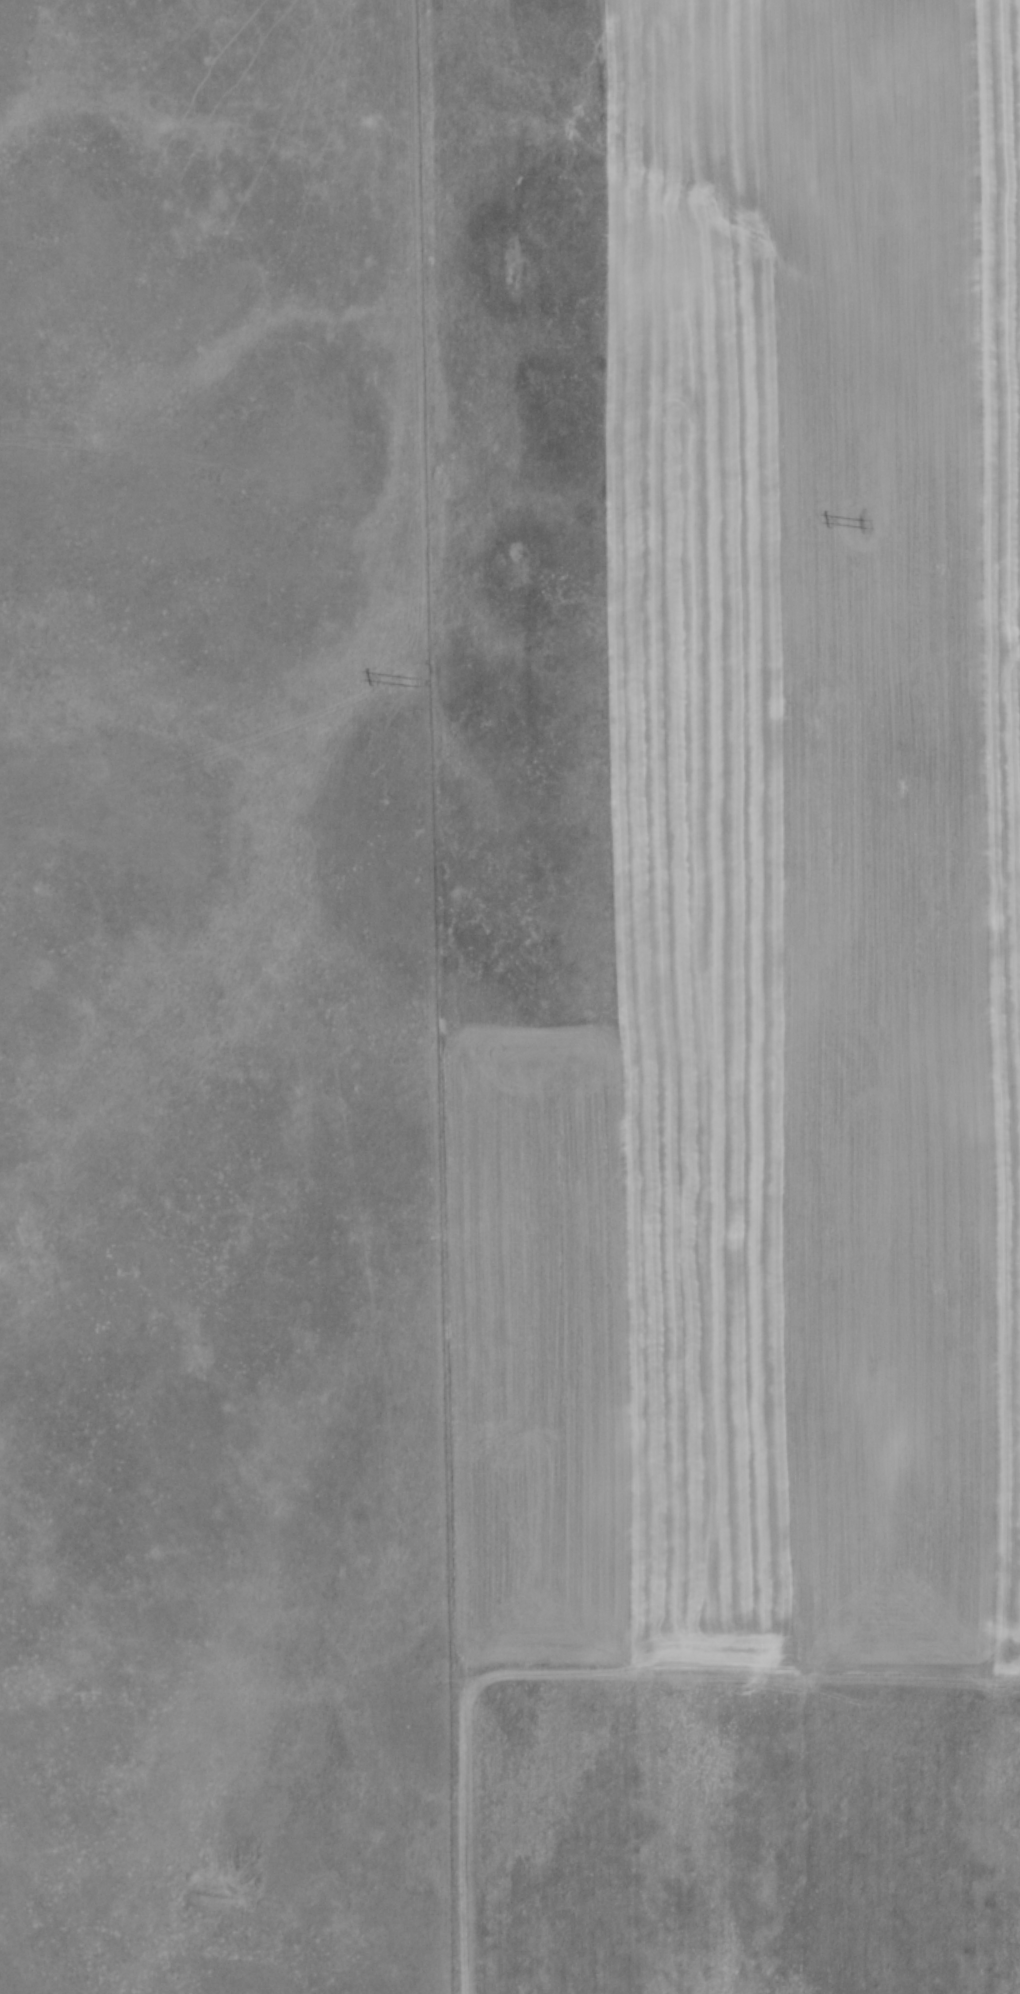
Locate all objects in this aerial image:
power tower: (863, 521)
power tower: (410, 680)

